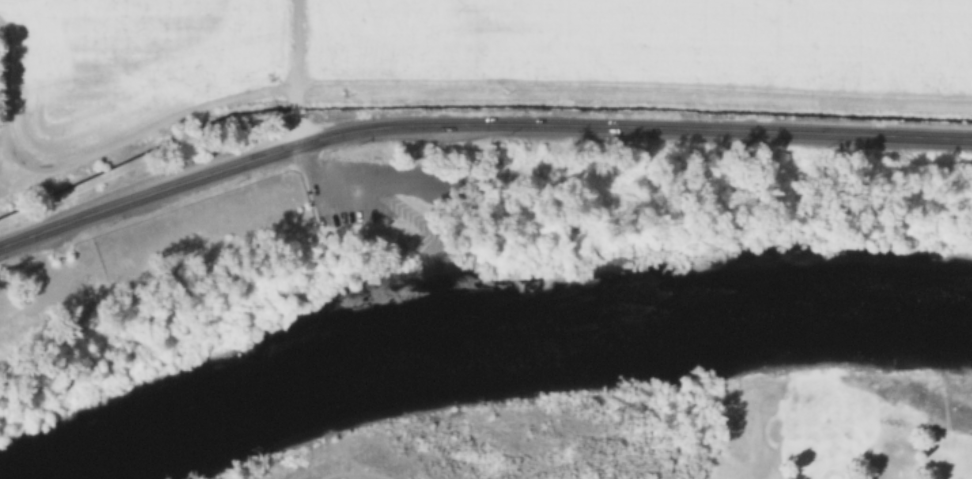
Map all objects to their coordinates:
crop: (635, 51)
crop: (125, 68)
road: (476, 124)
river: (489, 352)

